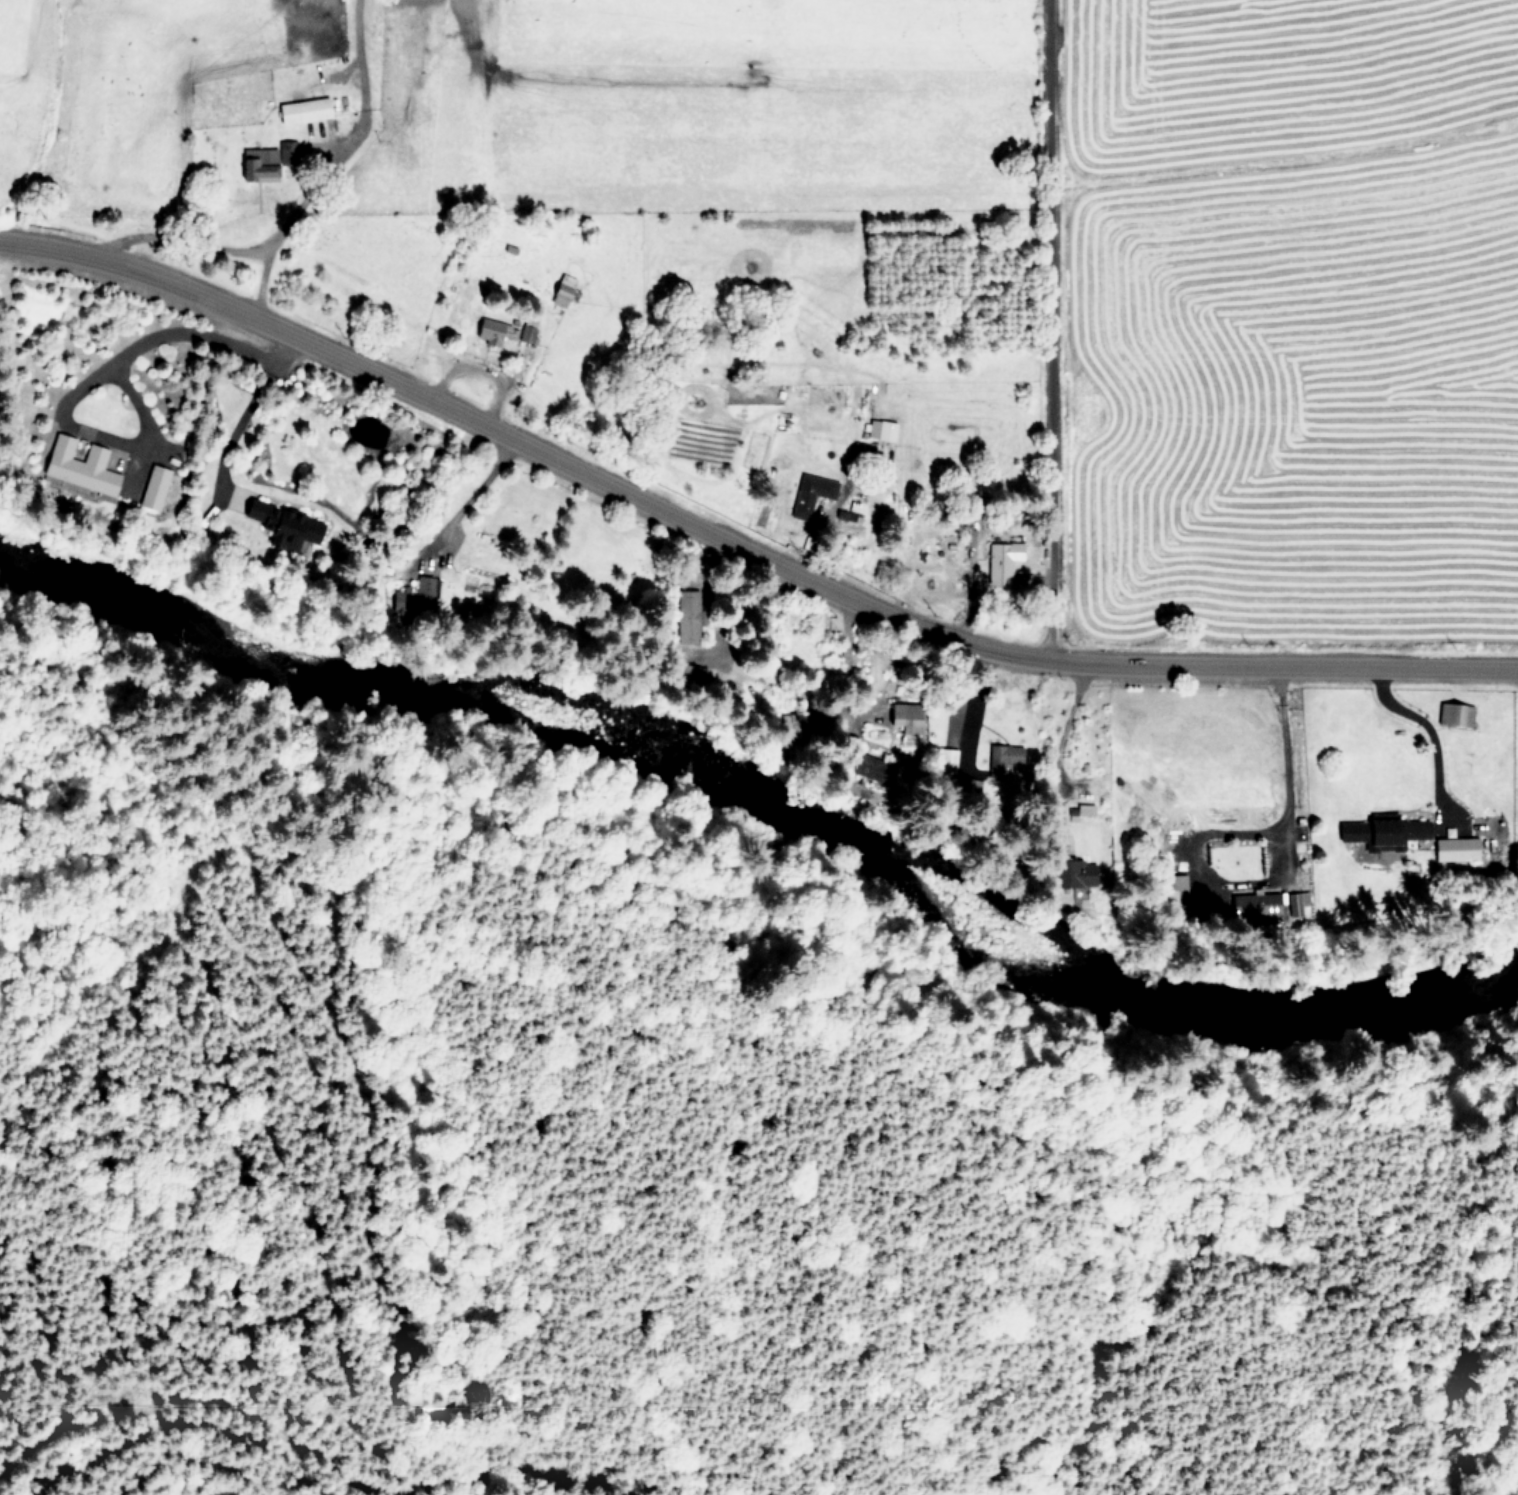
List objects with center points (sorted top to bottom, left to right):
building: (301, 109)
road: (353, 143)
road: (201, 244)
building: (488, 330)
road: (1055, 331)
road: (250, 352)
road: (55, 418)
crop: (1295, 418)
road: (240, 420)
building: (879, 428)
building: (78, 464)
building: (152, 486)
building: (811, 492)
building: (281, 523)
road: (739, 544)
building: (1000, 560)
building: (413, 594)
building: (685, 606)
building: (1450, 712)
building: (905, 715)
road: (1425, 728)
building: (1006, 755)
road: (1279, 757)
building: (944, 758)
building: (1382, 831)
building: (1454, 848)
building: (1177, 892)
building: (1253, 904)

